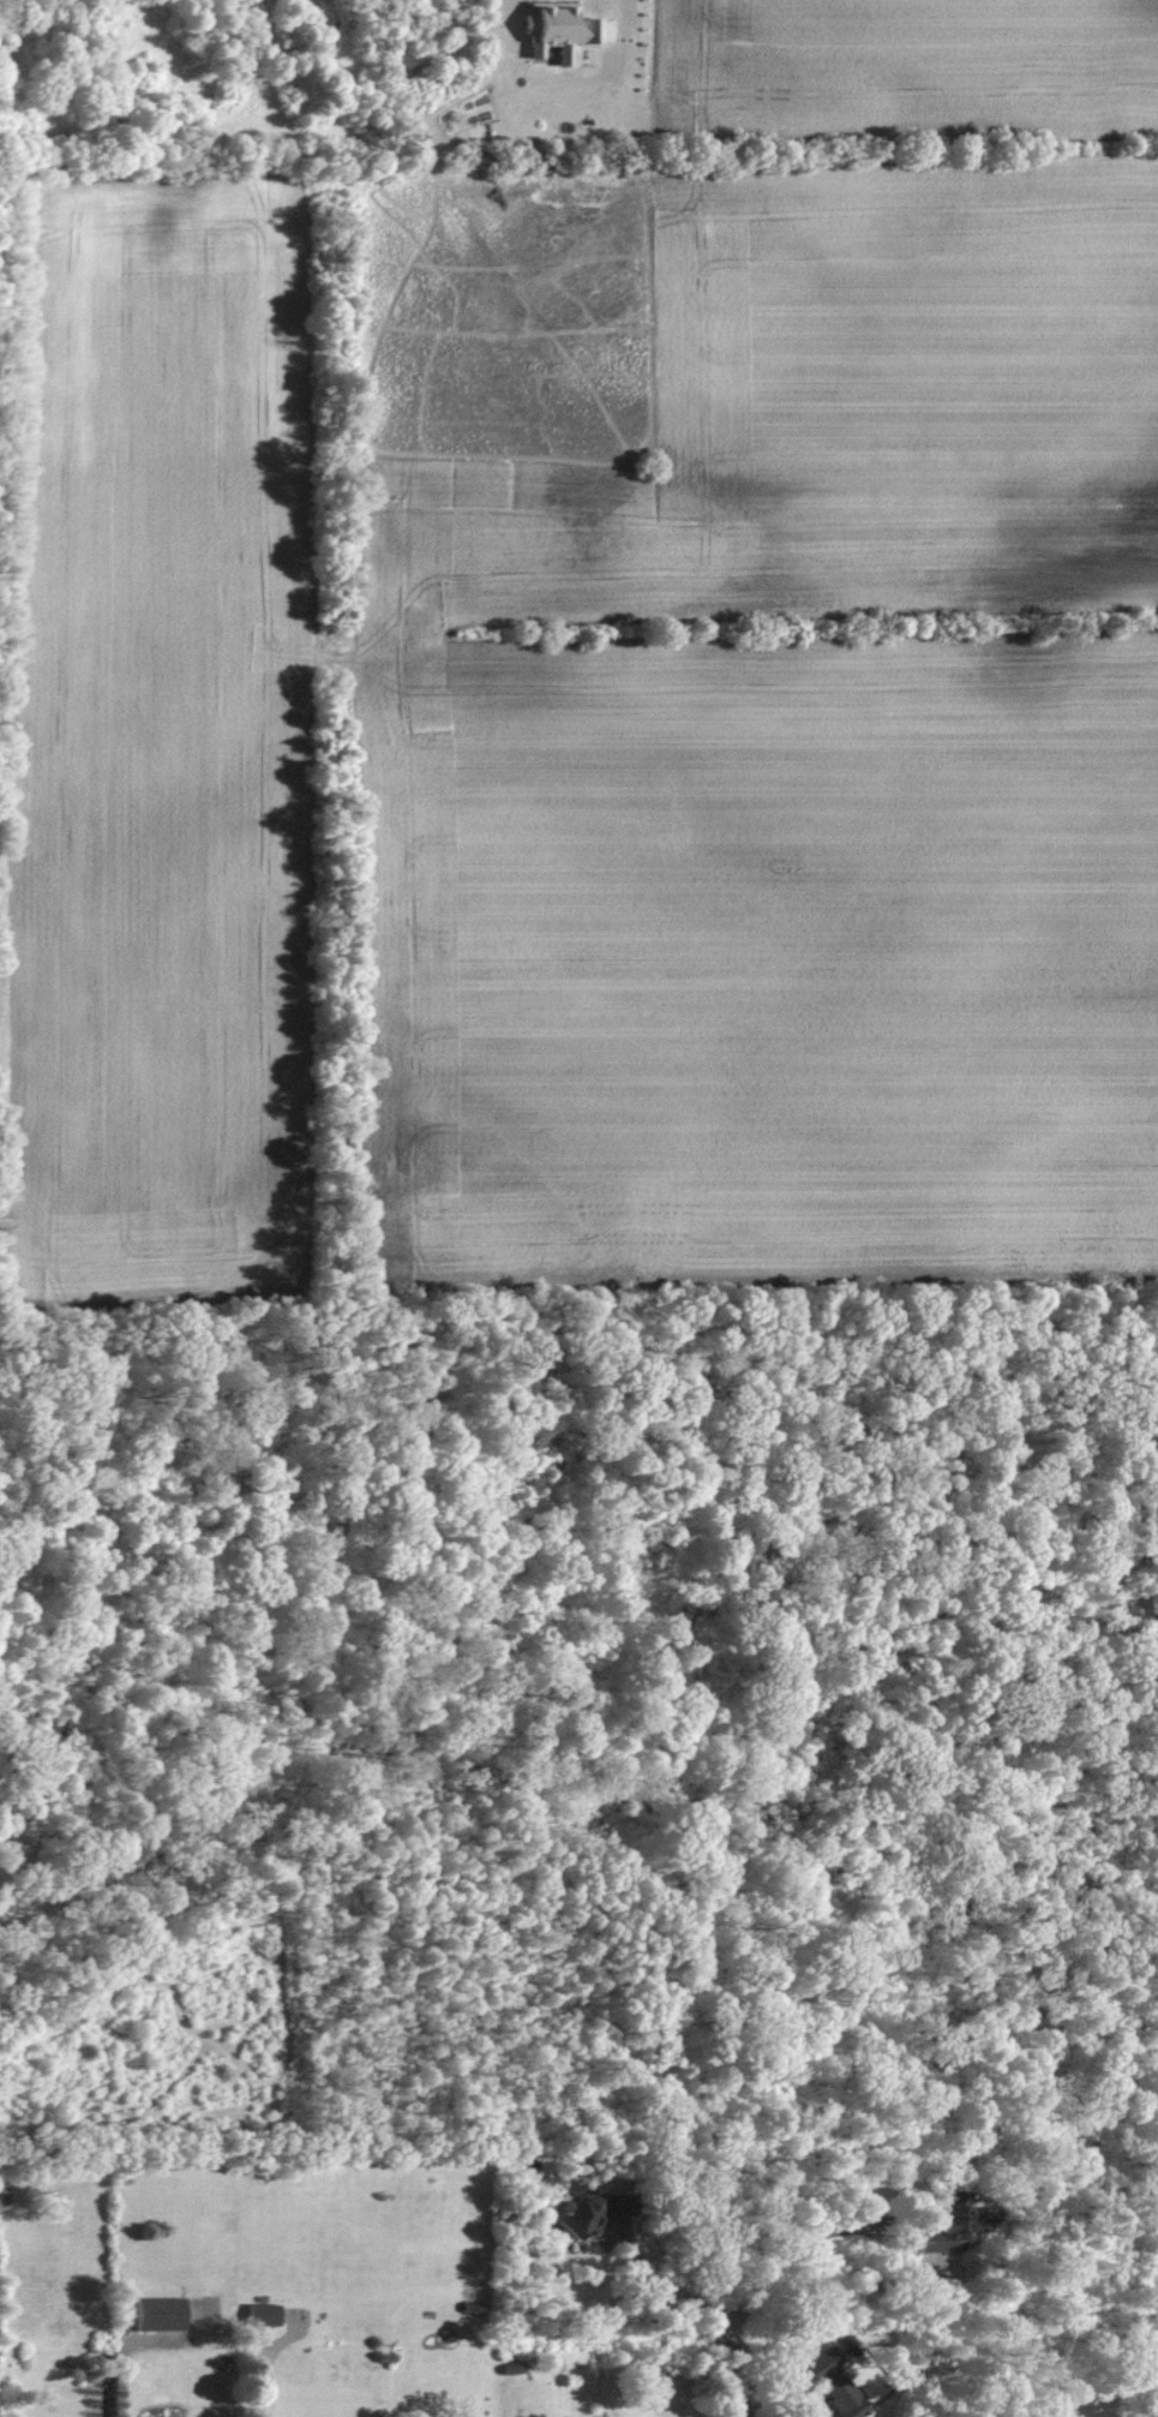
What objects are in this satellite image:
building: (562, 30)
crop: (904, 67)
crop: (157, 722)
crop: (787, 755)
building: (602, 2207)
building: (949, 2225)
road: (889, 2228)
road: (838, 2234)
road: (668, 2268)
building: (161, 2316)
building: (266, 2316)
road: (152, 2341)
road: (271, 2351)
road: (743, 2364)
building: (106, 2368)
building: (839, 2385)

